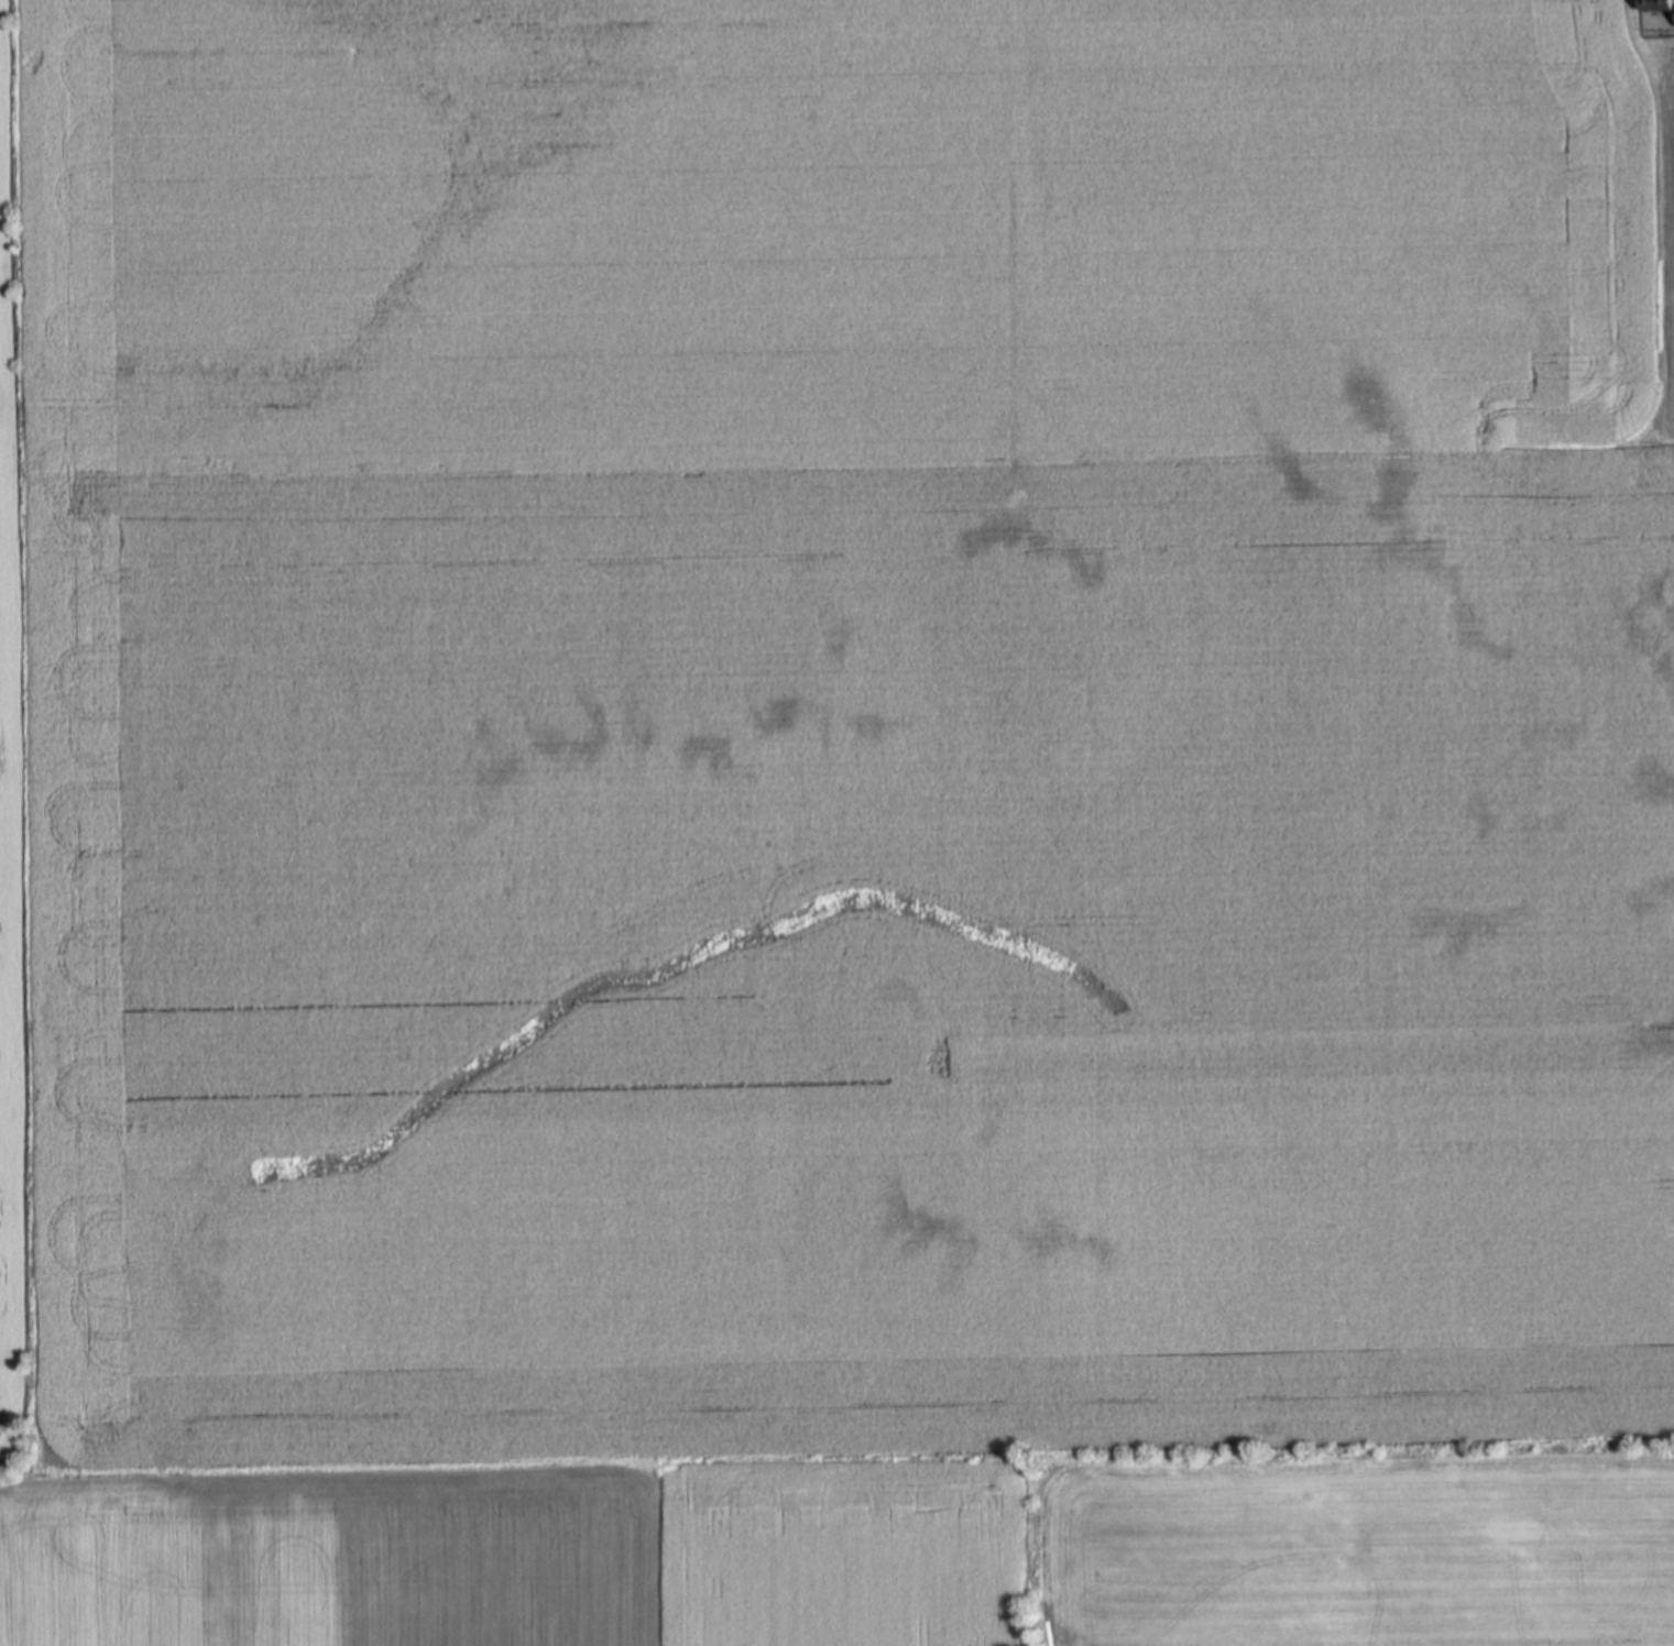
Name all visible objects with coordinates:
building: (1654, 6)

